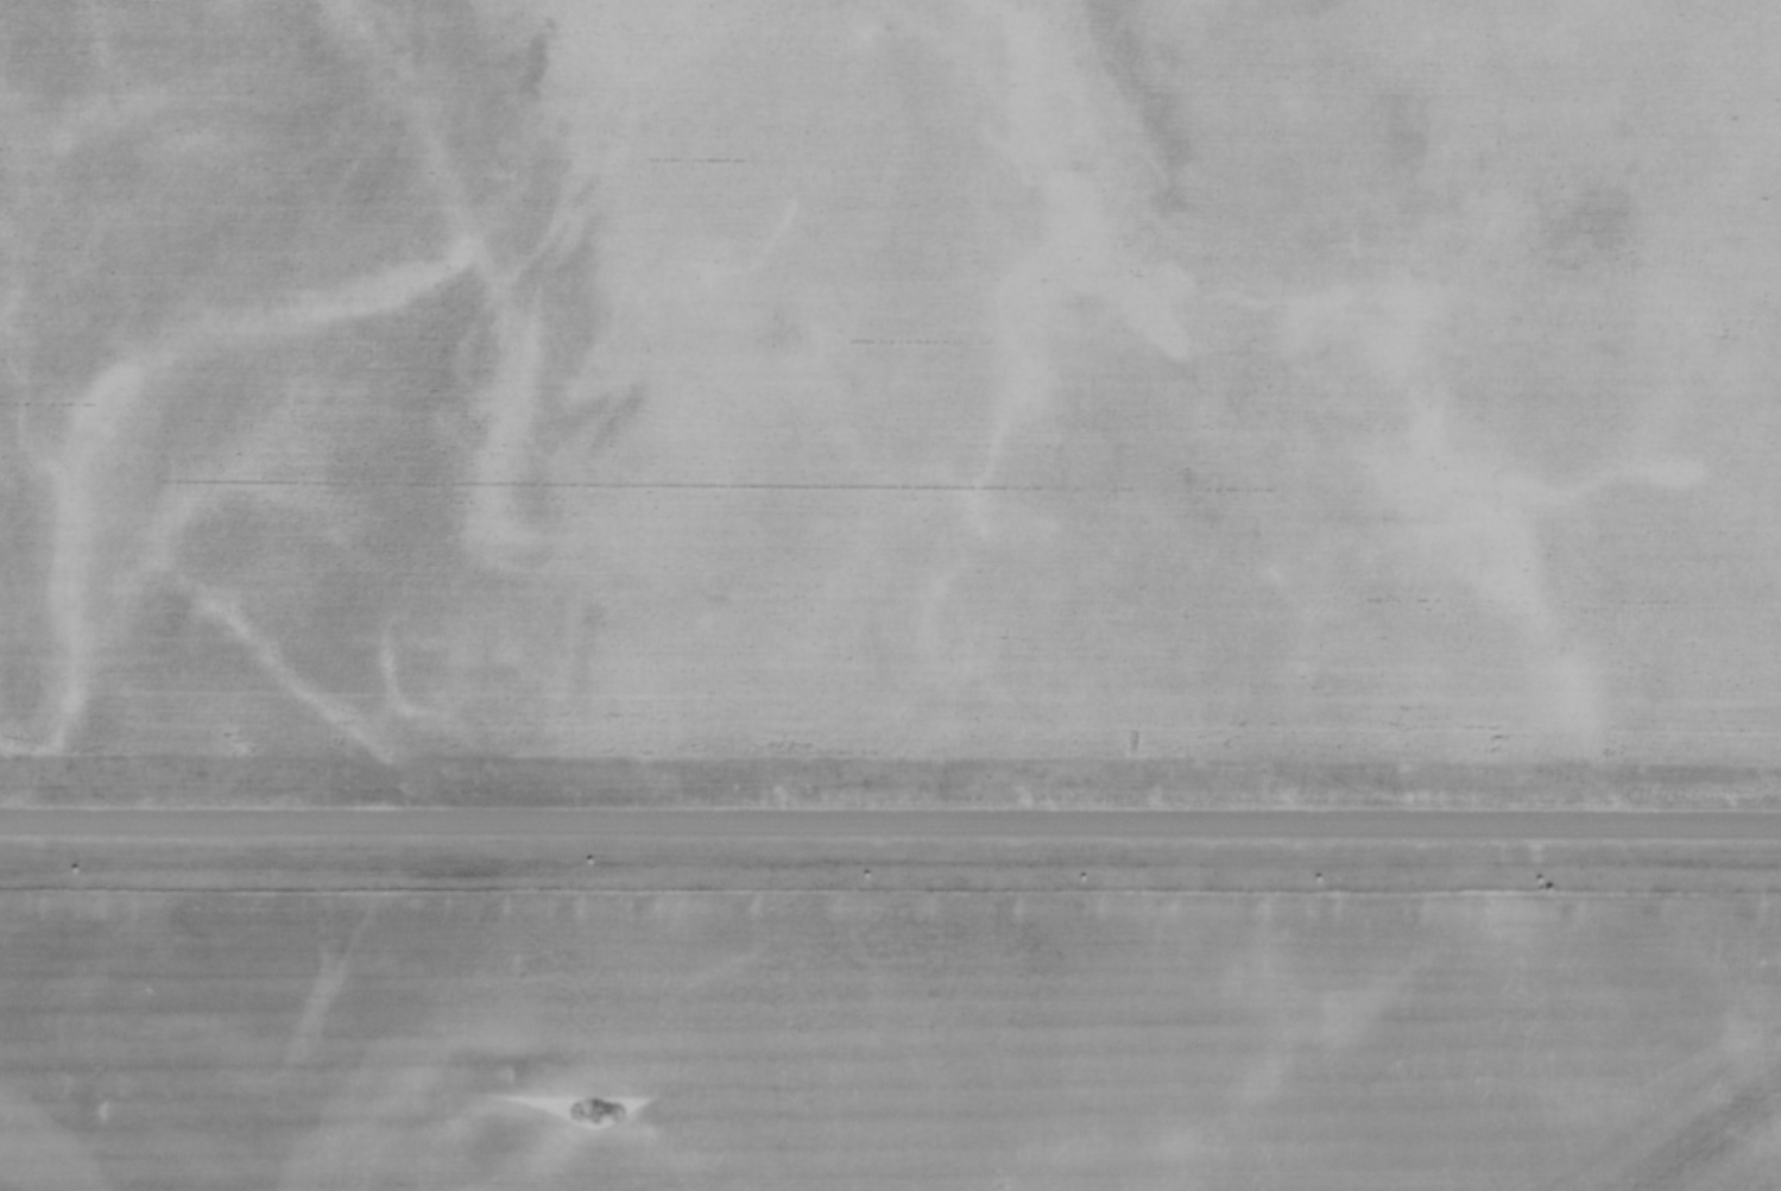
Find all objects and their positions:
road: (890, 821)

